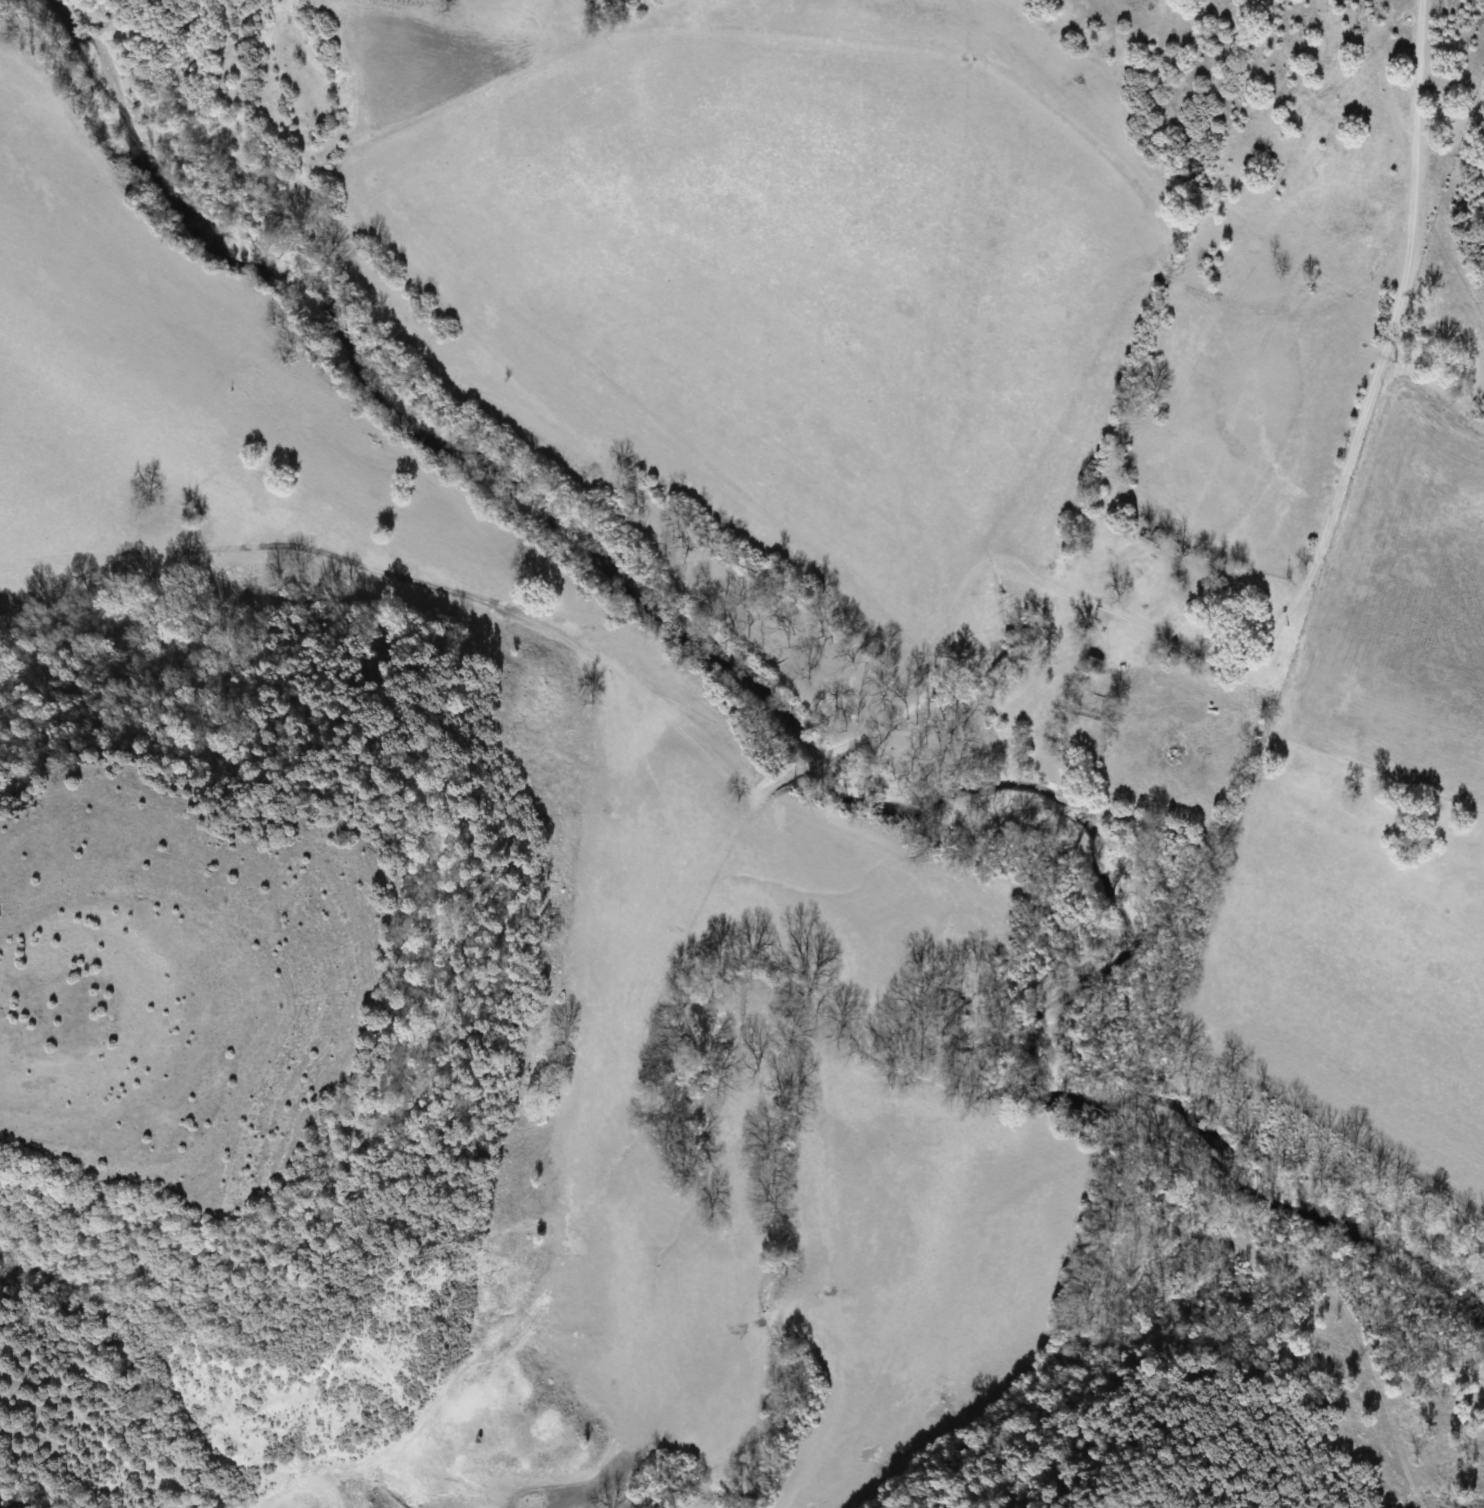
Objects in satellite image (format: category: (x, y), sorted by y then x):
road: (1375, 320)
building: (1093, 667)

